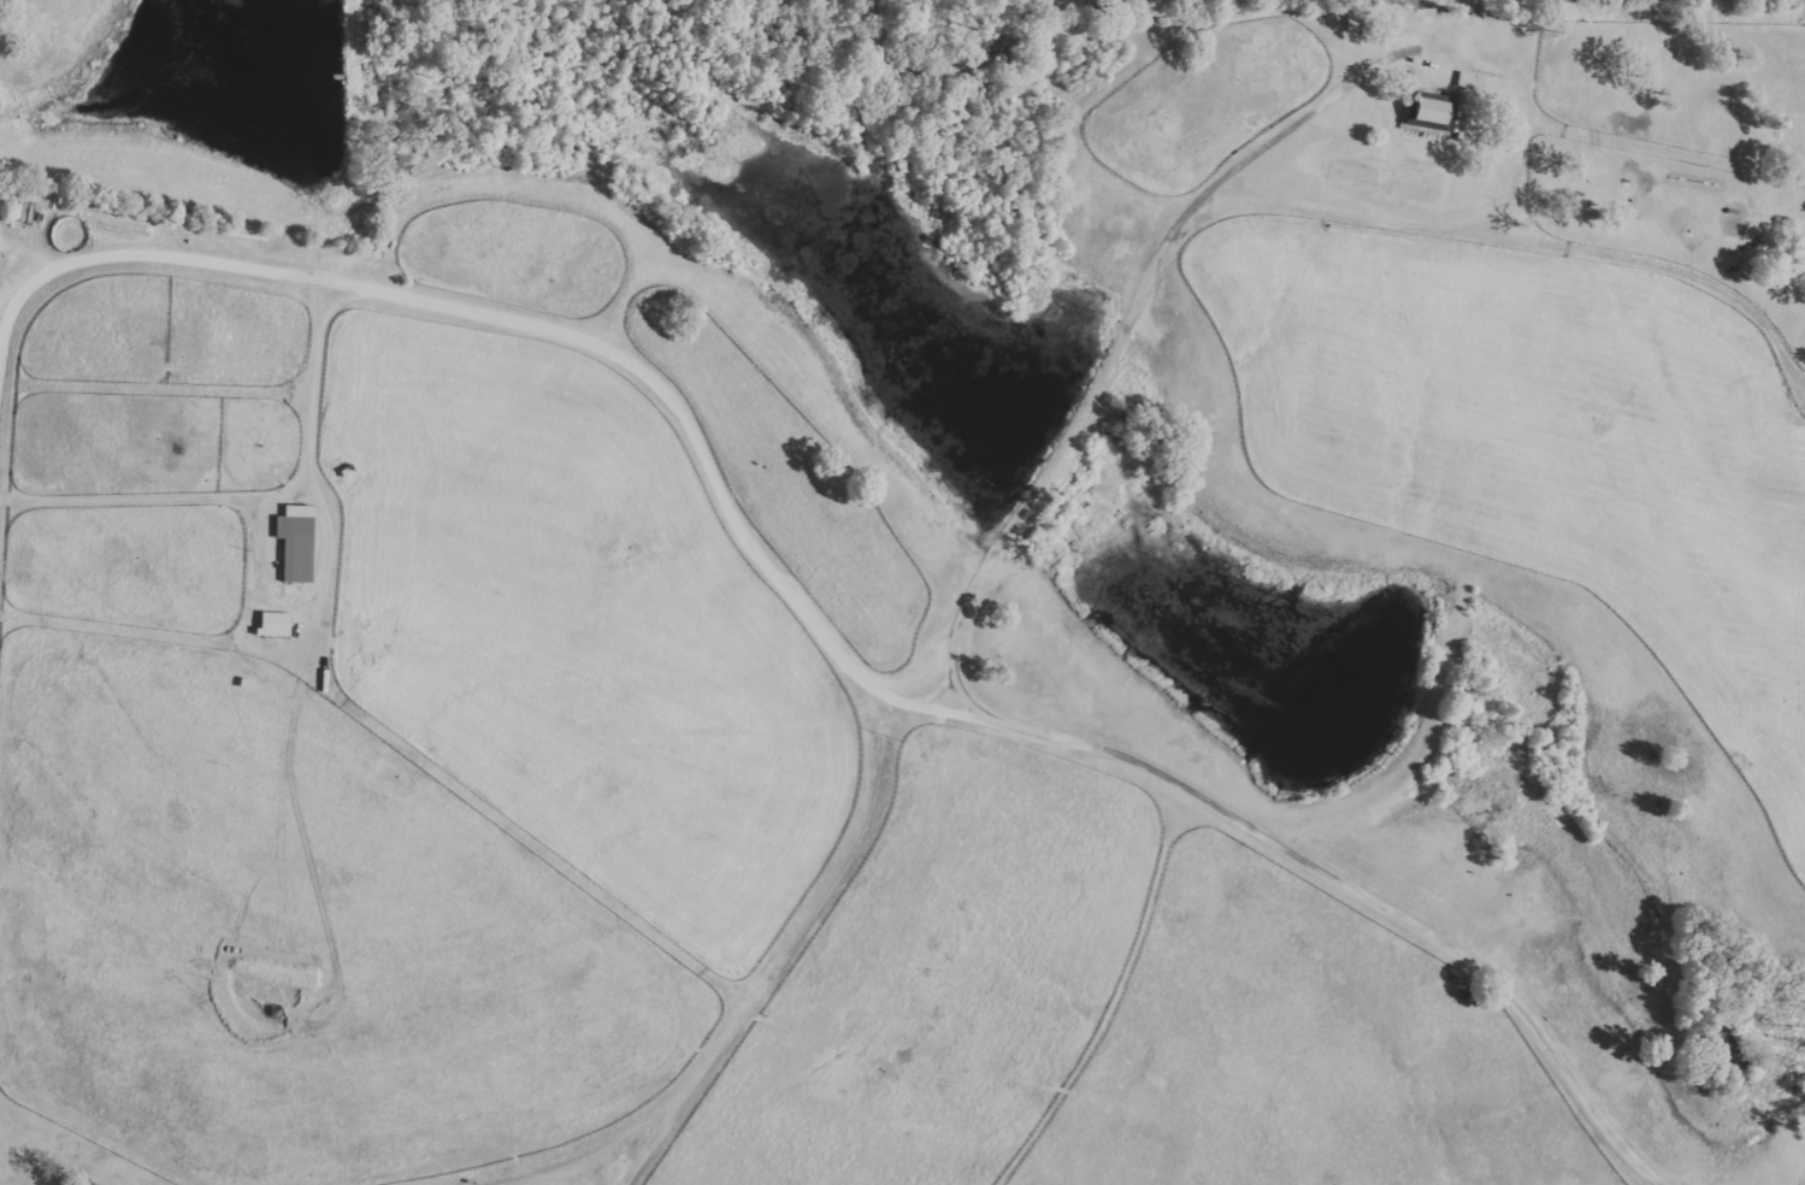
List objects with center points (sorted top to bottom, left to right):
road: (1528, 99)
building: (1434, 114)
building: (300, 542)
building: (278, 624)
road: (1122, 755)

